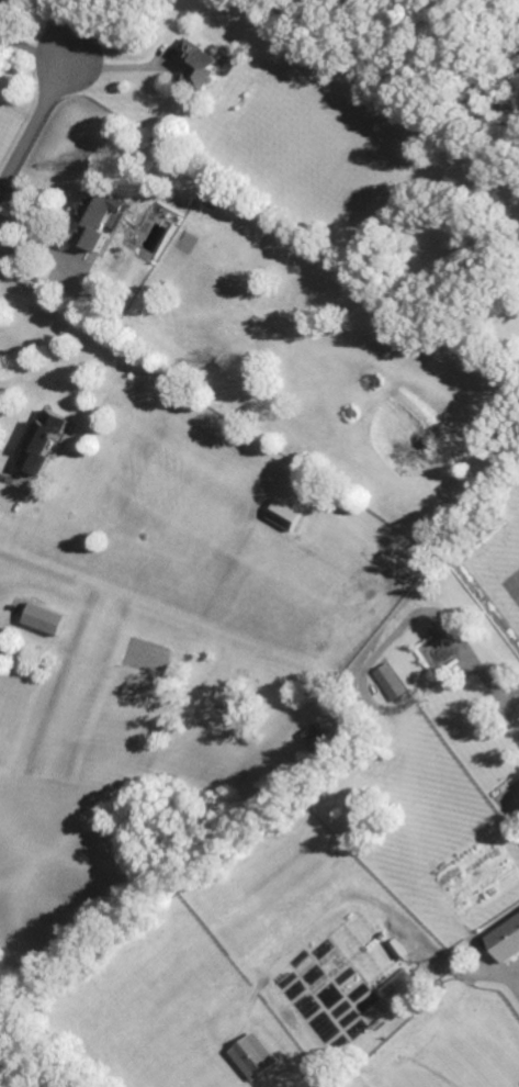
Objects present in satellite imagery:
road: (54, 32)
road: (33, 49)
building: (207, 64)
road: (123, 67)
road: (34, 126)
building: (100, 218)
road: (40, 231)
building: (43, 440)
road: (9, 479)
building: (284, 514)
building: (45, 618)
building: (391, 681)
building: (506, 939)
building: (252, 1055)

